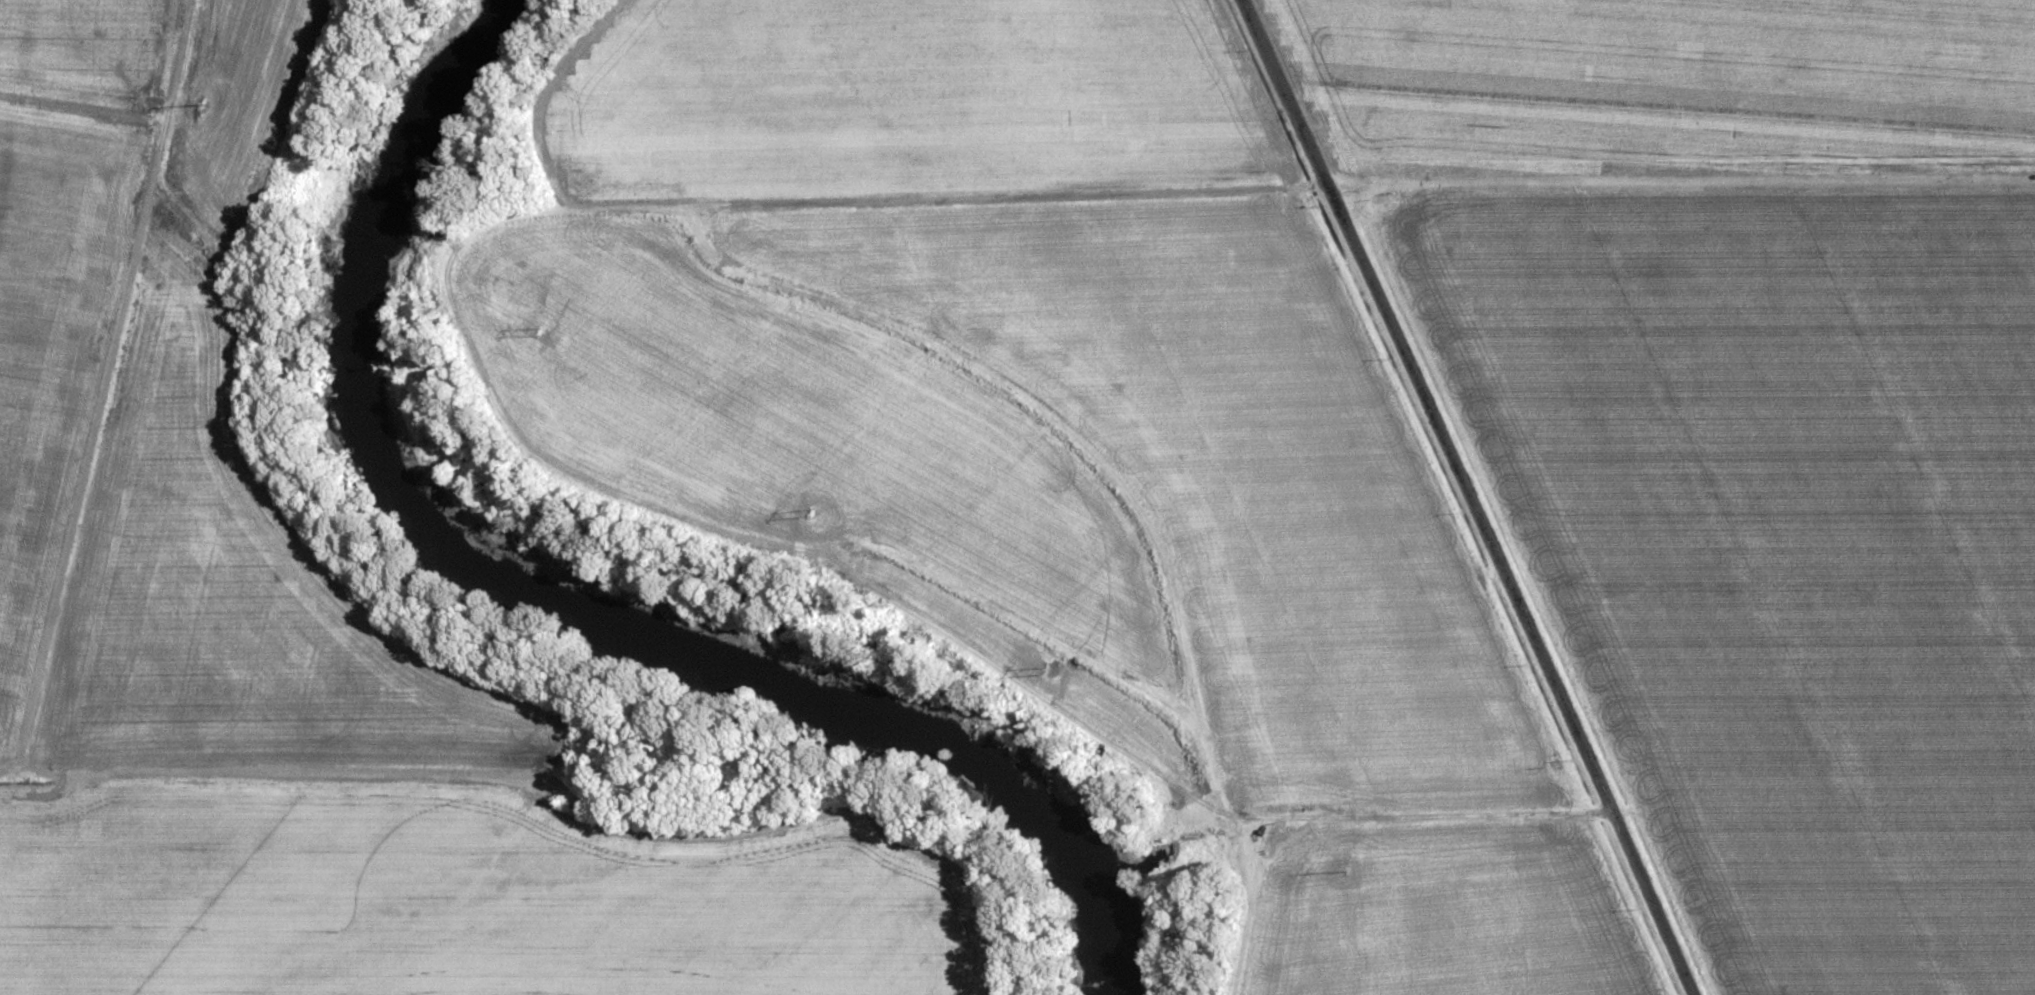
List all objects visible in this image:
power tower: (200, 94)
power tower: (545, 330)
road: (1463, 497)
power tower: (805, 506)
power tower: (1044, 662)
power tower: (1280, 824)

